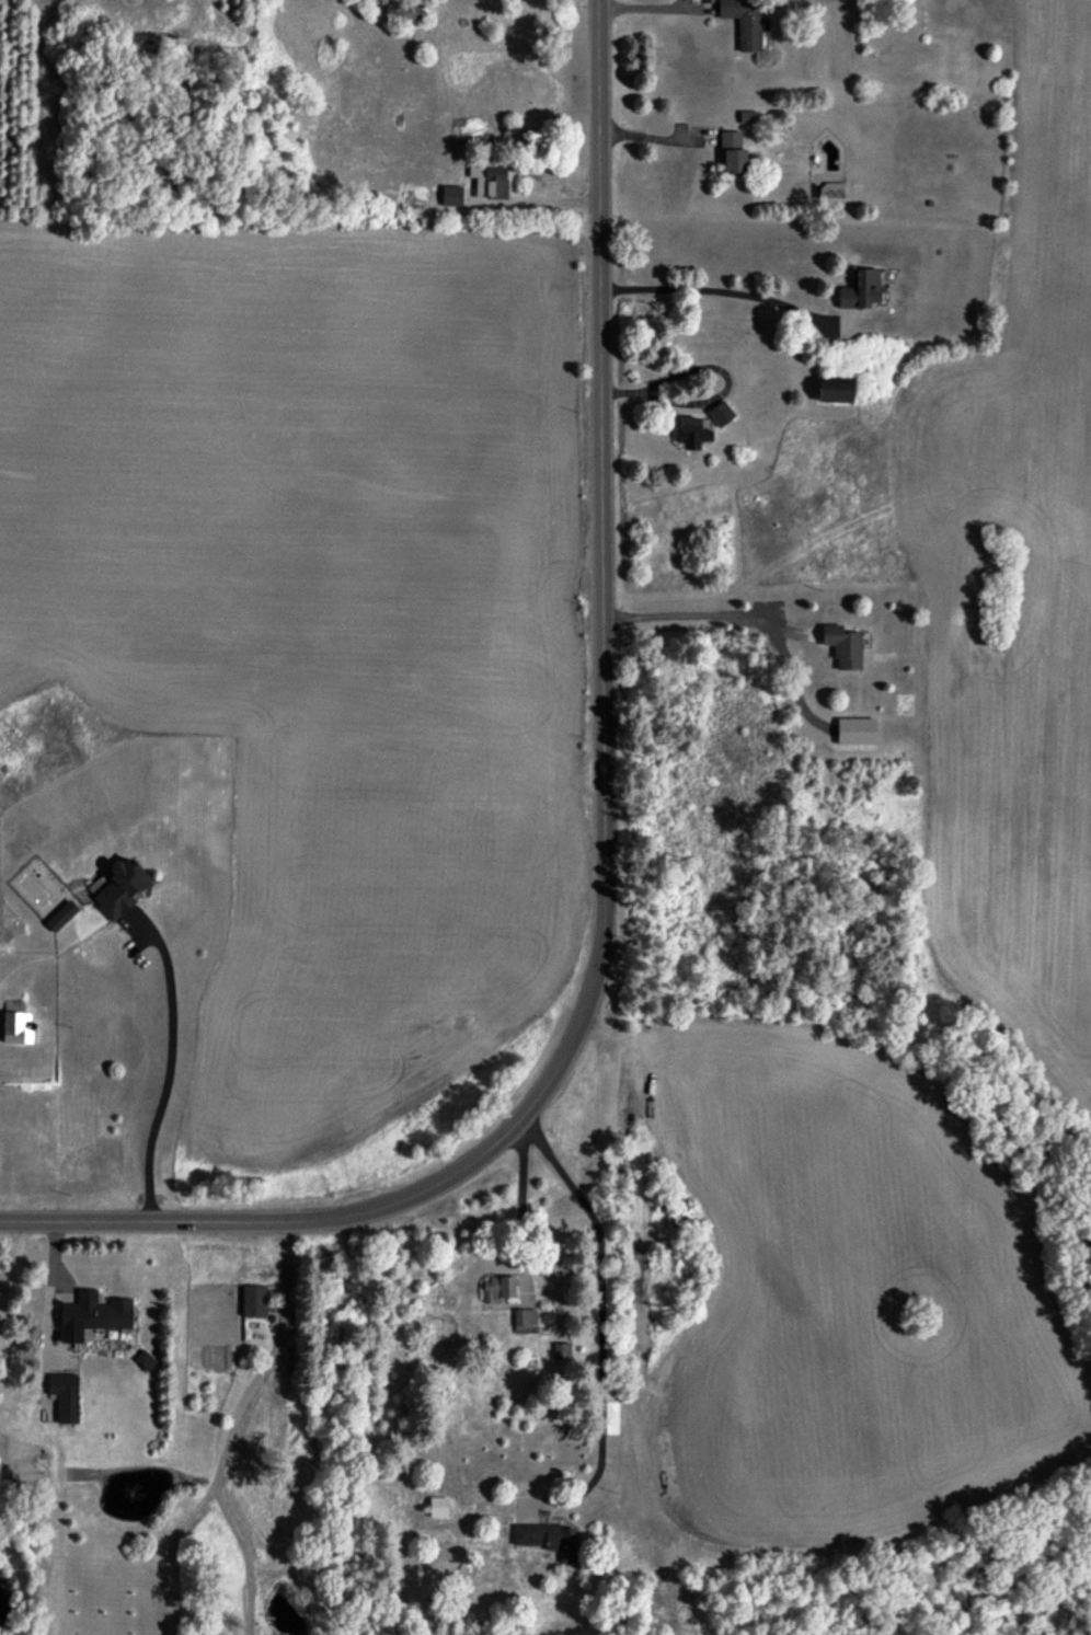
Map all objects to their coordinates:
road: (429, 0)
road: (585, 2)
road: (652, 7)
building: (403, 11)
building: (745, 22)
building: (747, 116)
road: (661, 137)
building: (732, 150)
building: (490, 179)
building: (831, 188)
building: (451, 195)
building: (860, 289)
road: (727, 290)
building: (835, 388)
building: (721, 413)
building: (691, 431)
road: (708, 614)
building: (842, 645)
road: (597, 844)
building: (120, 887)
building: (61, 914)
building: (15, 1023)
road: (169, 1069)
road: (524, 1194)
building: (498, 1288)
building: (253, 1300)
road: (0, 1302)
road: (597, 1306)
building: (95, 1311)
building: (525, 1320)
building: (561, 1350)
building: (145, 1359)
road: (267, 1362)
building: (65, 1395)
building: (438, 1506)
building: (549, 1538)
road: (170, 1556)
road: (248, 1558)

